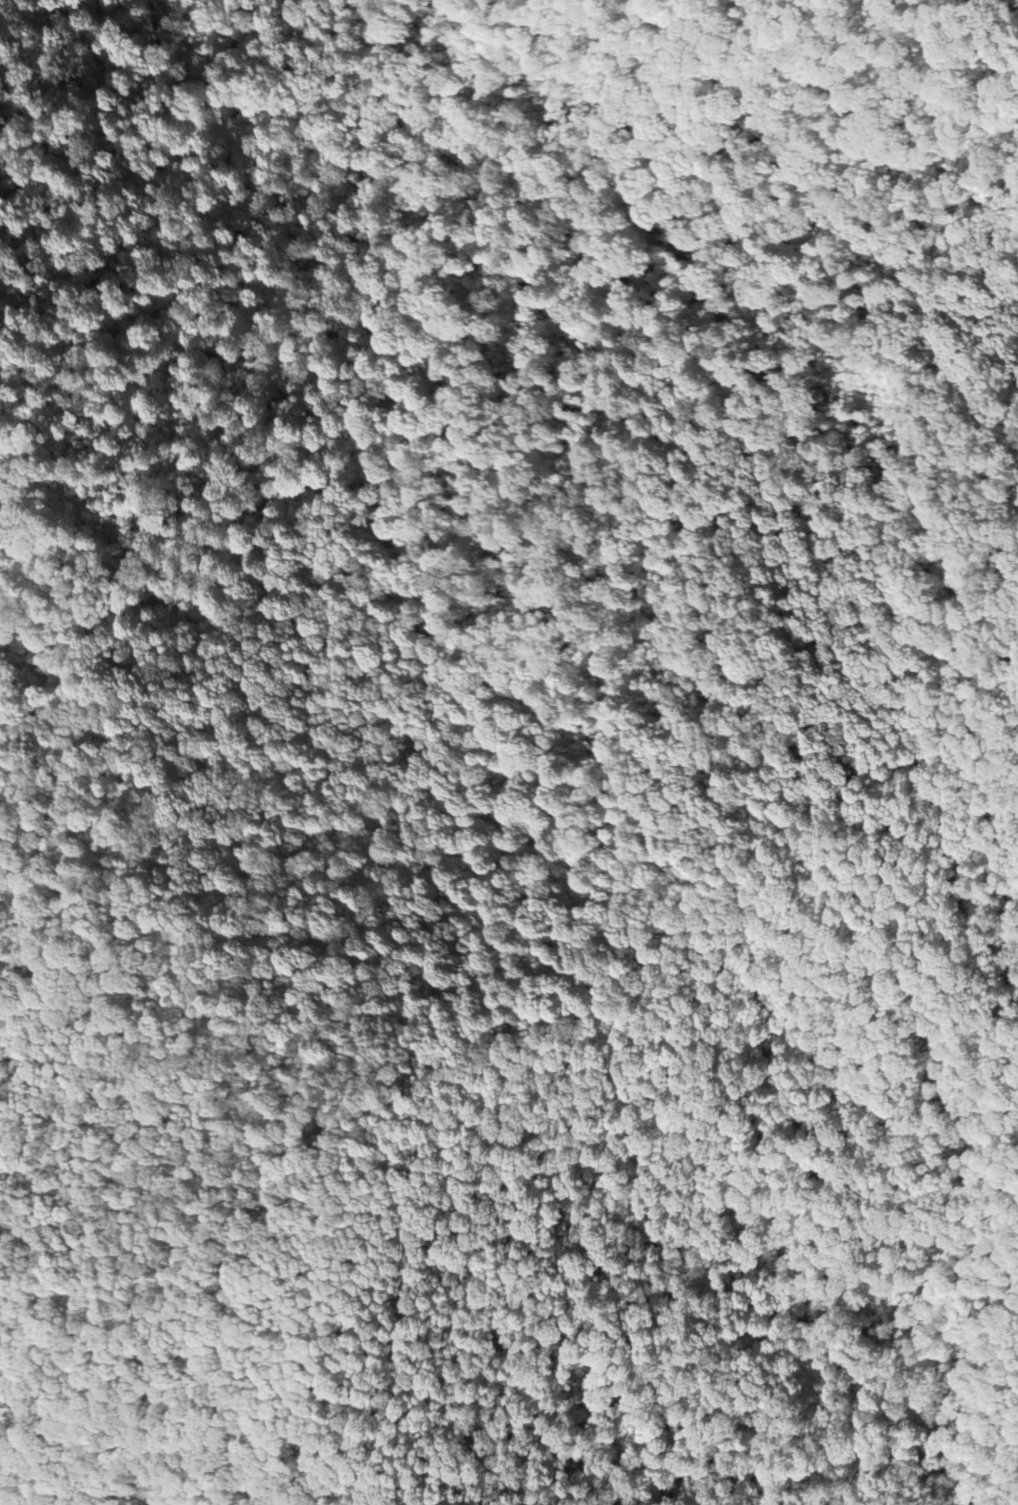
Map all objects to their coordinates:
road: (530, 890)

